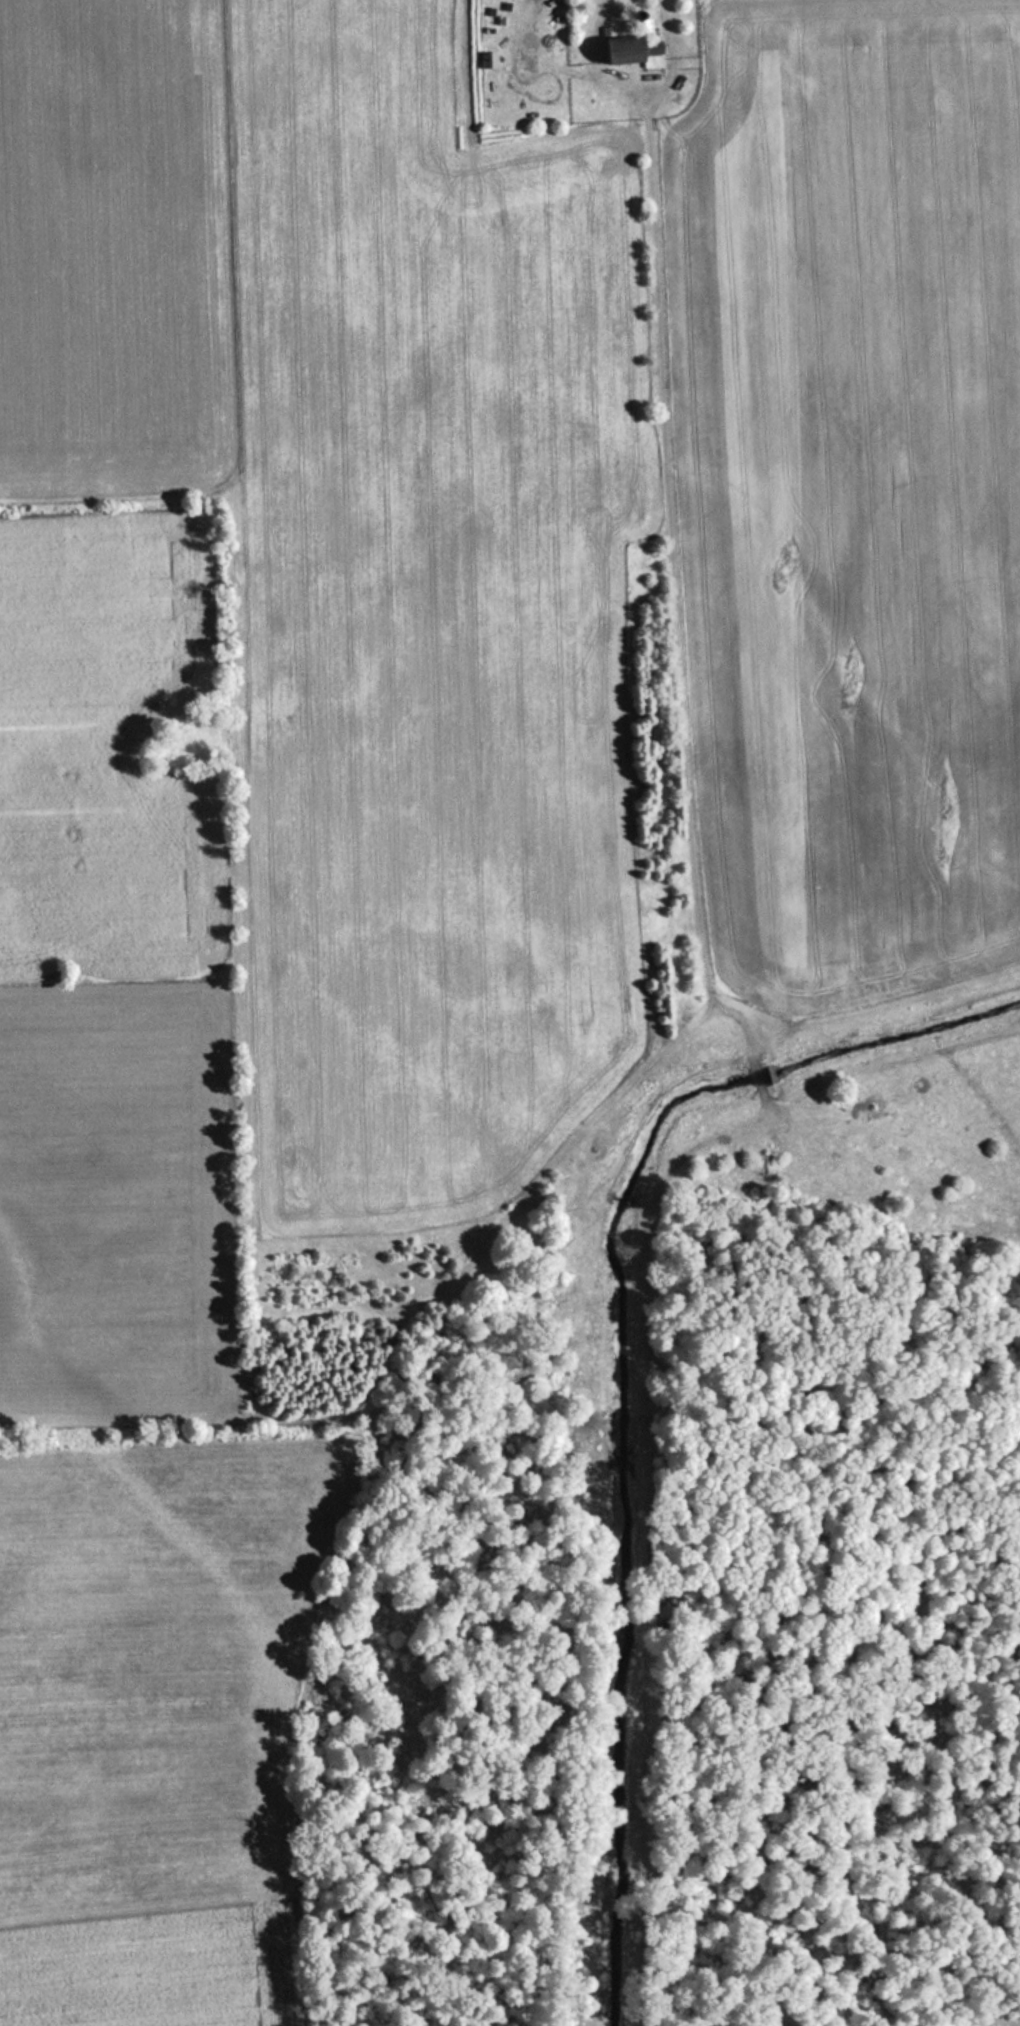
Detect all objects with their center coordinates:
building: (646, 24)
building: (632, 51)
building: (488, 59)

